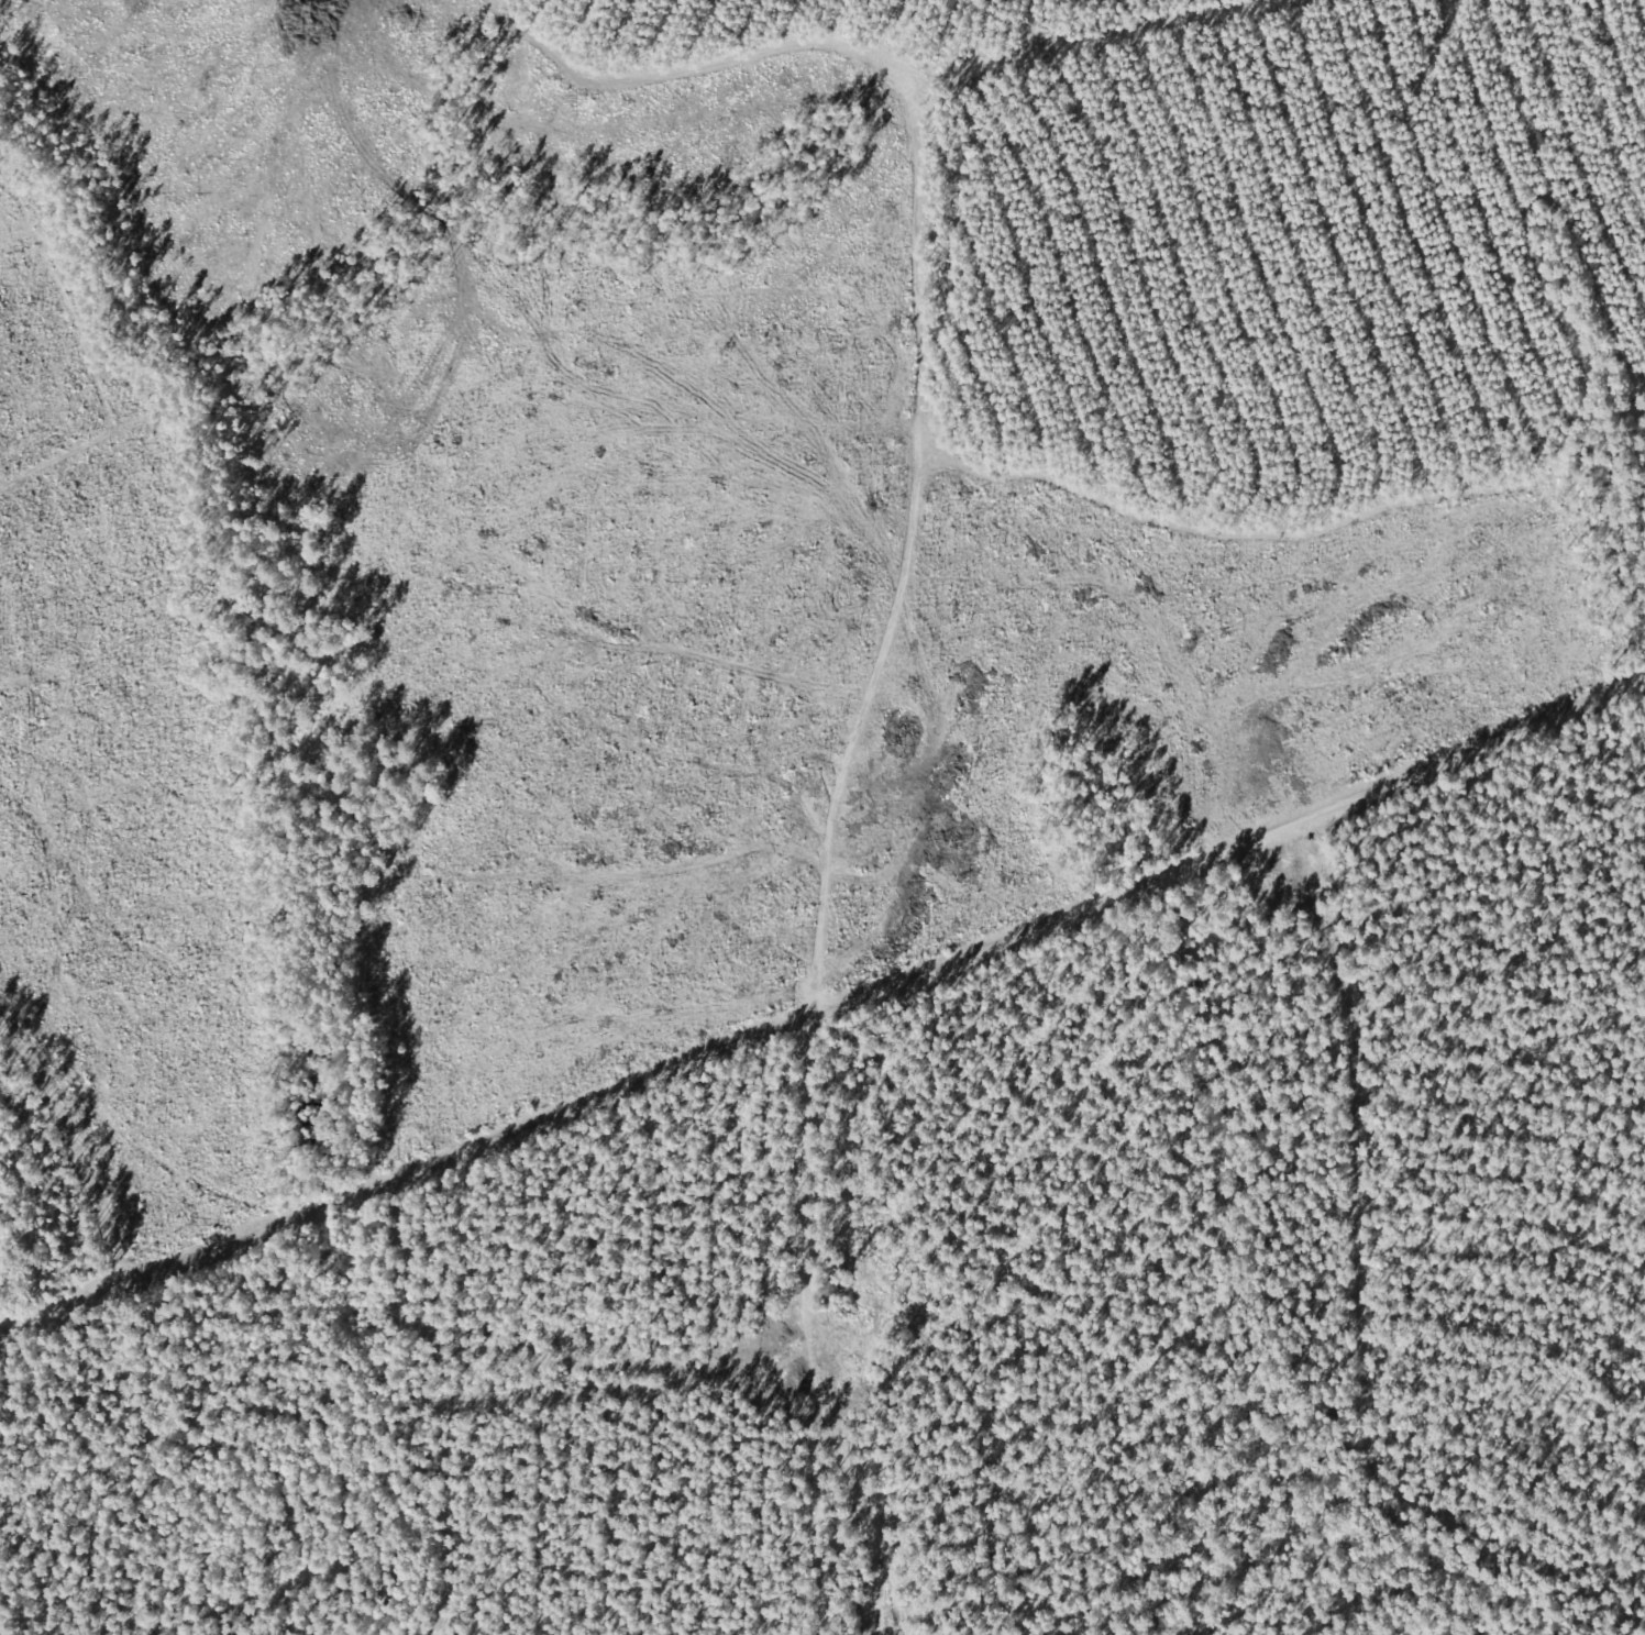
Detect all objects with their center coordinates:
road: (826, 1043)

